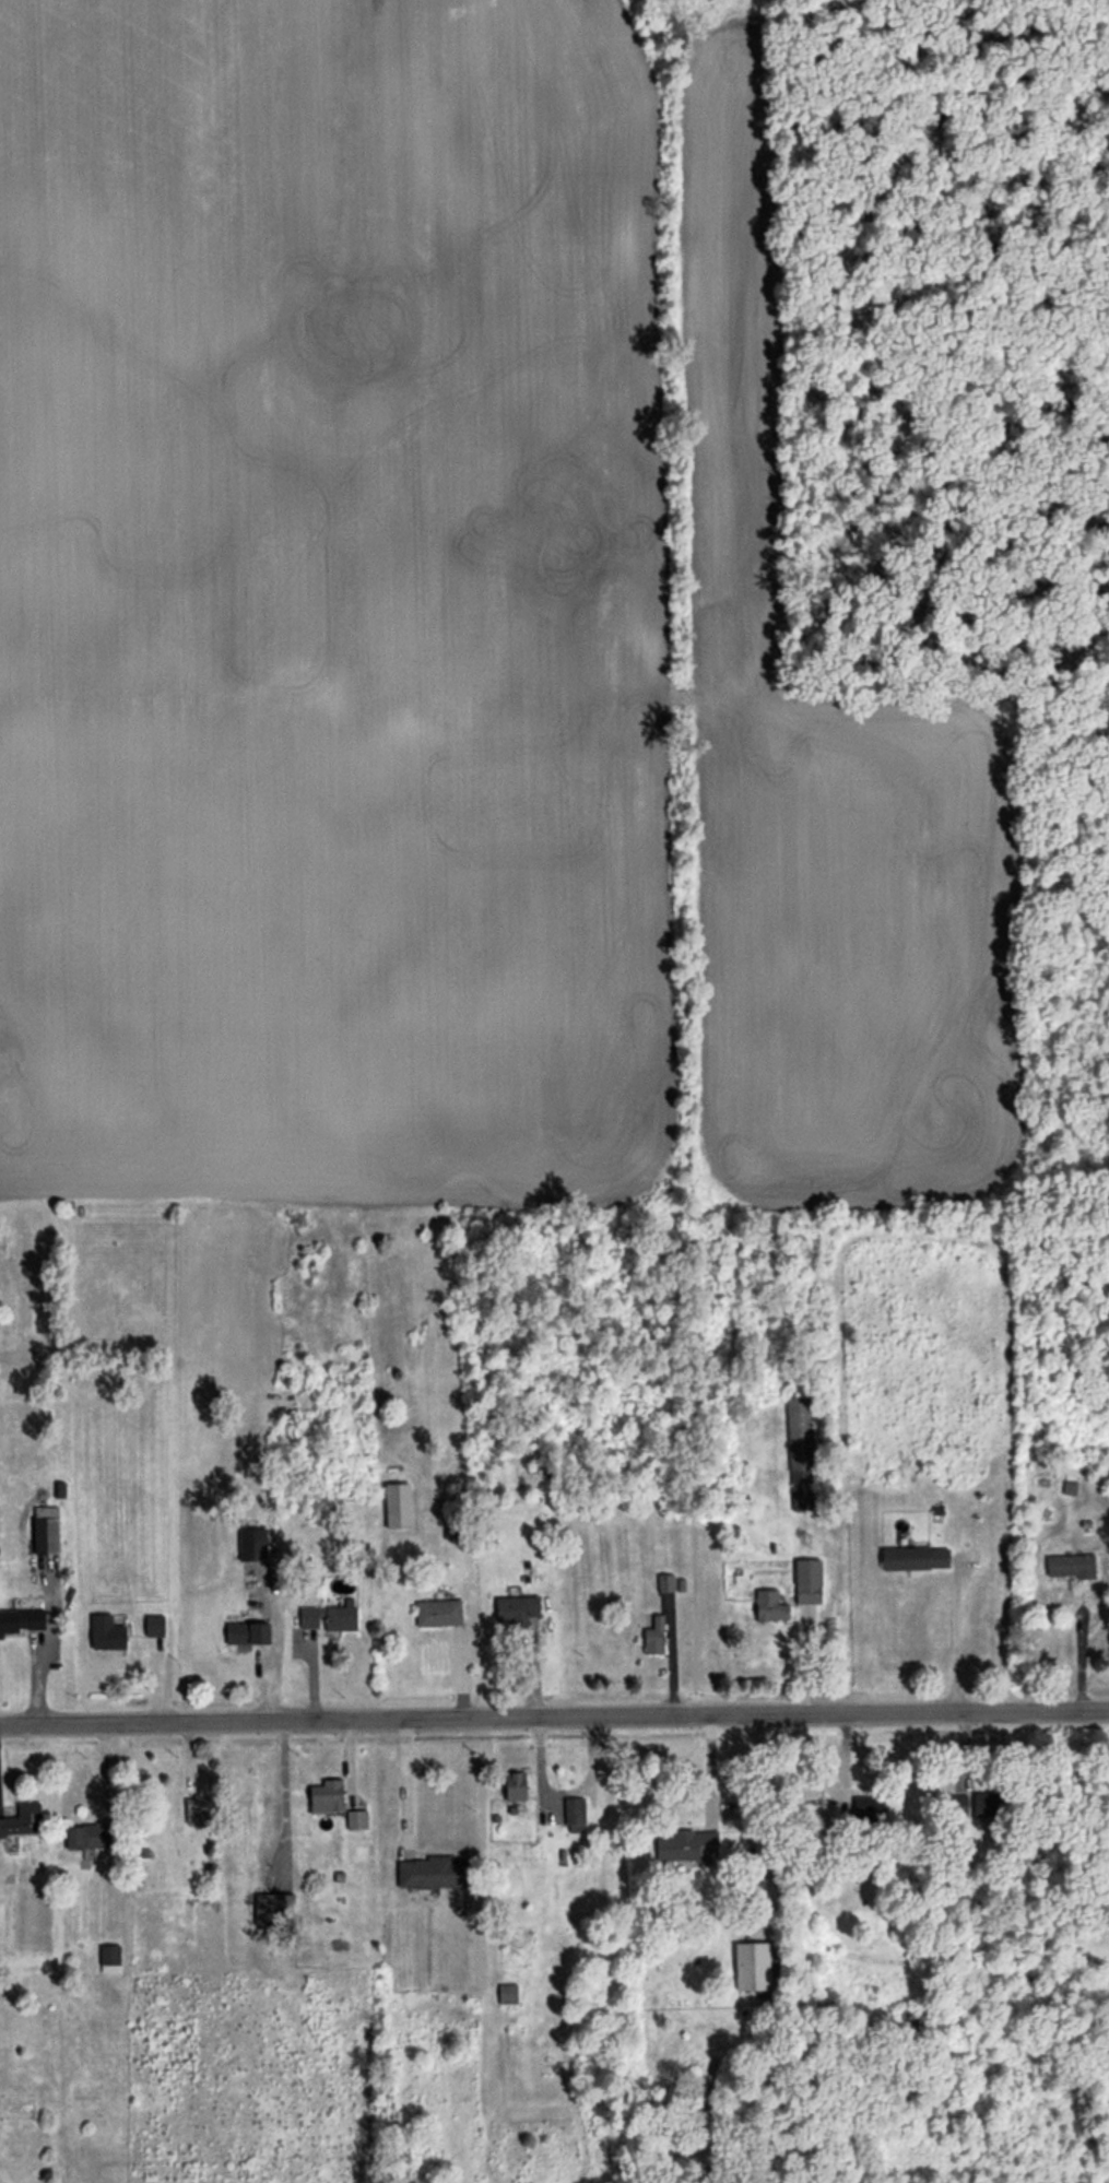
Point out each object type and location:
building: (800, 1451)
building: (398, 1504)
building: (46, 1534)
building: (252, 1544)
building: (916, 1557)
building: (1071, 1565)
building: (809, 1580)
building: (770, 1605)
building: (518, 1609)
building: (439, 1612)
building: (330, 1616)
building: (22, 1619)
building: (154, 1625)
building: (107, 1632)
building: (248, 1632)
building: (654, 1635)
road: (957, 1636)
road: (39, 1666)
road: (554, 1720)
road: (709, 1768)
road: (405, 1784)
building: (516, 1784)
building: (327, 1796)
building: (986, 1804)
building: (870, 1808)
building: (197, 1810)
building: (575, 1810)
building: (825, 1817)
building: (356, 1818)
building: (23, 1820)
building: (92, 1837)
building: (686, 1844)
building: (434, 1872)
building: (273, 1909)
building: (110, 1957)
building: (753, 1966)
building: (508, 1993)

